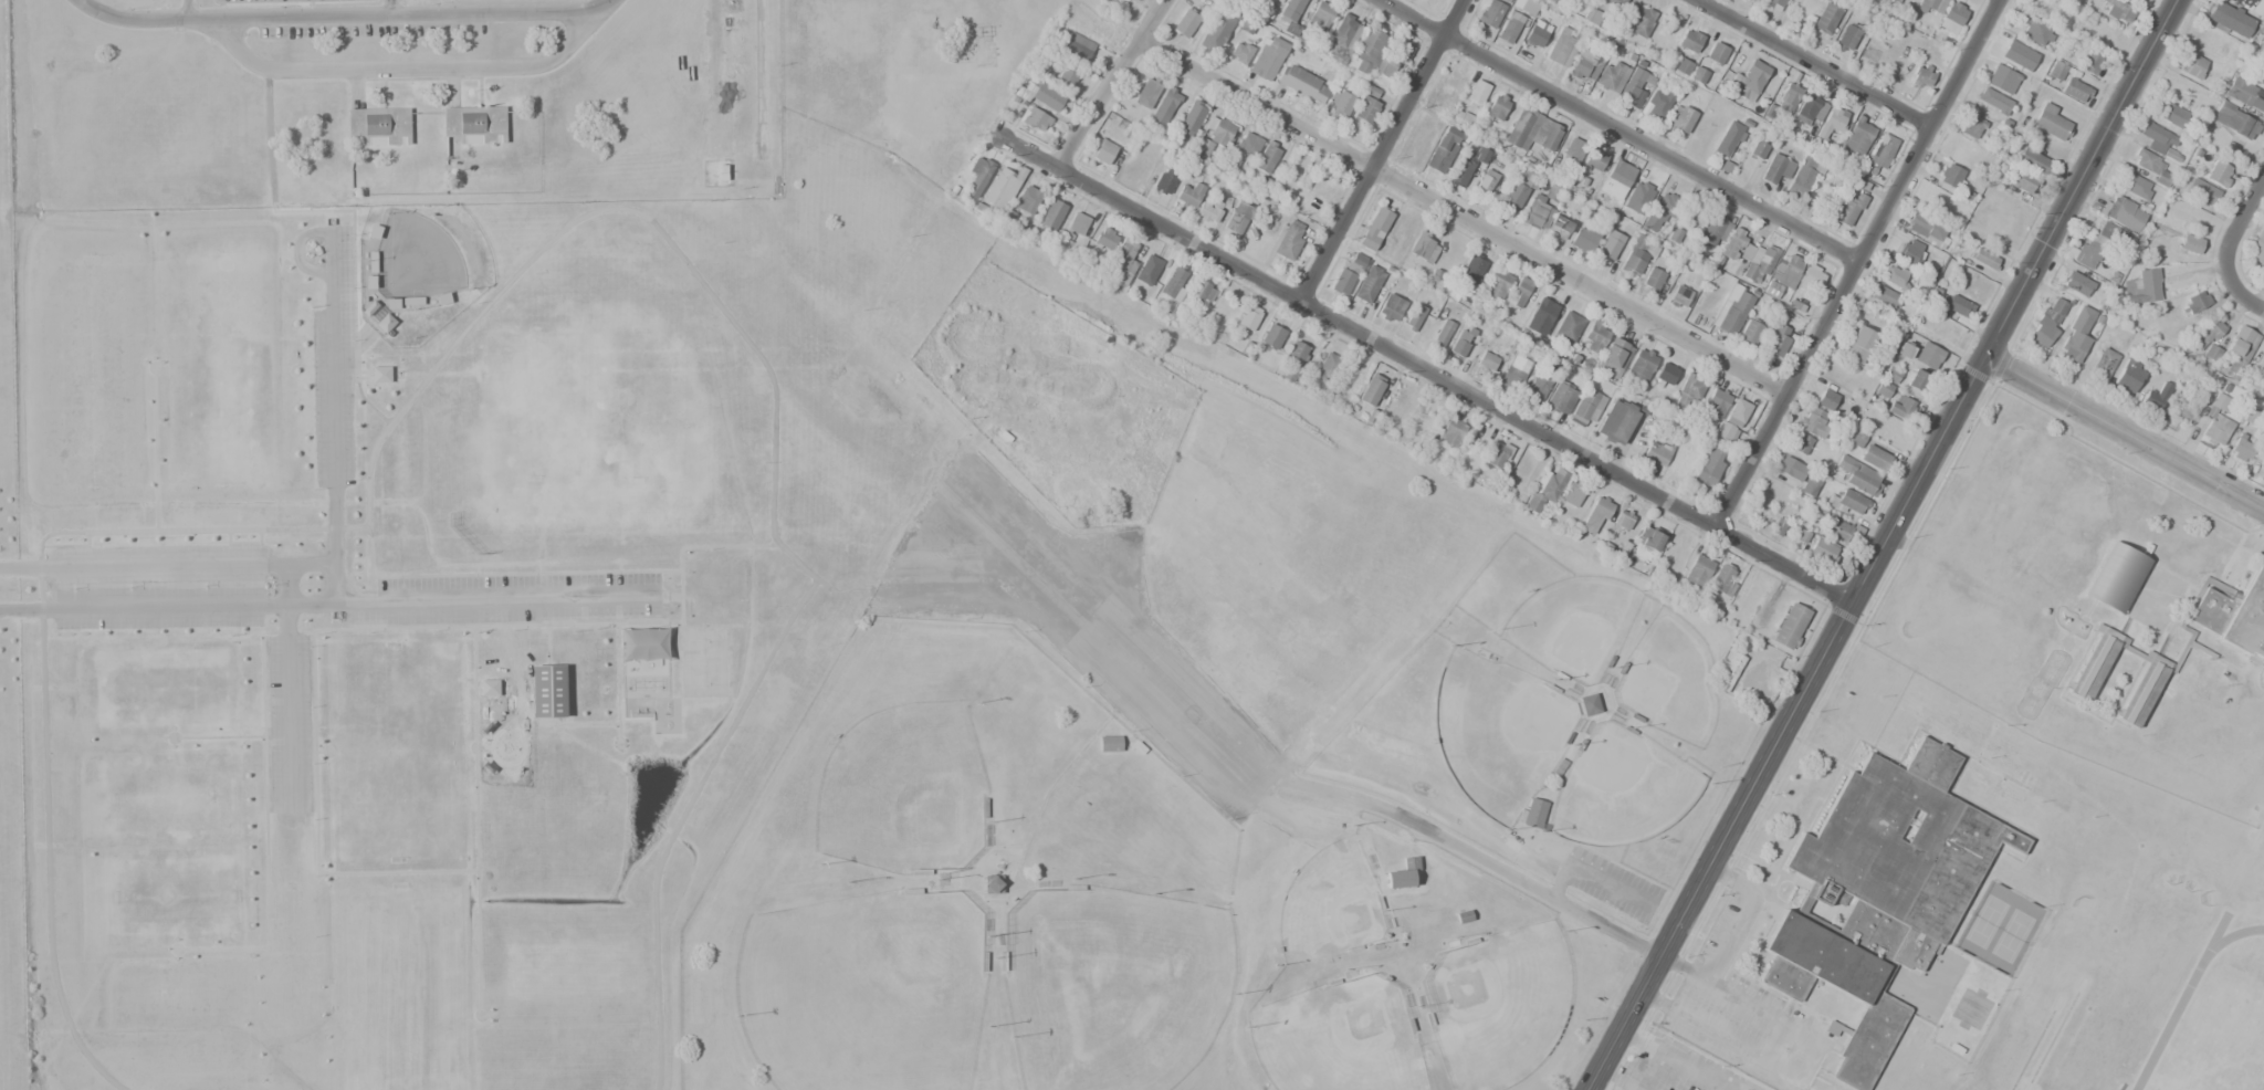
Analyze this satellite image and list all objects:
building: (1272, 0)
building: (1505, 1)
building: (1754, 1)
building: (1614, 3)
building: (1772, 3)
building: (1928, 3)
building: (1524, 6)
building: (2250, 6)
road: (395, 8)
road: (187, 10)
building: (2115, 10)
building: (1490, 13)
building: (1320, 15)
road: (344, 17)
building: (1290, 17)
building: (1826, 18)
building: (1951, 18)
building: (1639, 20)
building: (2228, 21)
building: (1185, 22)
building: (1509, 27)
building: (2036, 29)
building: (1345, 32)
building: (1217, 33)
building: (1534, 36)
building: (1846, 36)
building: (1688, 40)
building: (1563, 46)
building: (1076, 48)
building: (2263, 49)
building: (1370, 50)
building: (1240, 52)
building: (1716, 52)
building: (1870, 52)
building: (1268, 57)
building: (2088, 61)
building: (1387, 63)
building: (1582, 64)
road: (1809, 65)
building: (2191, 65)
building: (1681, 66)
road: (408, 67)
building: (2056, 70)
park: (908, 71)
building: (1607, 74)
building: (1697, 75)
building: (1921, 75)
building: (2260, 75)
building: (1067, 76)
building: (2001, 78)
building: (1748, 81)
road: (1111, 84)
building: (1302, 84)
building: (1631, 85)
building: (2074, 91)
building: (1371, 92)
building: (2237, 92)
building: (1146, 94)
building: (1475, 96)
building: (1040, 97)
building: (1788, 97)
building: (1993, 101)
building: (1340, 102)
building: (1658, 104)
building: (1165, 105)
building: (1807, 106)
building: (1497, 107)
building: (1365, 108)
building: (2171, 115)
building: (1679, 118)
building: (1034, 119)
building: (1461, 119)
building: (2234, 120)
building: (1831, 122)
building: (2052, 122)
building: (1189, 123)
building: (474, 124)
building: (378, 126)
building: (1970, 126)
building: (1532, 132)
road: (1620, 133)
building: (1214, 135)
building: (1857, 135)
building: (1727, 138)
building: (2160, 142)
building: (1248, 144)
road: (1381, 147)
building: (1443, 149)
building: (1573, 149)
building: (1757, 150)
building: (1103, 151)
building: (1879, 153)
building: (1268, 157)
building: (1595, 159)
building: (2031, 161)
building: (2148, 166)
building: (1467, 168)
building: (1776, 168)
building: (979, 171)
building: (1804, 174)
building: (2218, 174)
building: (1948, 178)
building: (1616, 179)
building: (1164, 181)
building: (2020, 181)
building: (1484, 184)
building: (2136, 186)
building: (1002, 188)
building: (1519, 191)
building: (2199, 192)
building: (1188, 196)
building: (1028, 200)
building: (1660, 208)
road: (352, 210)
building: (1848, 210)
building: (1209, 211)
building: (2121, 212)
building: (1537, 213)
building: (1052, 214)
road: (1463, 218)
building: (1690, 218)
road: (2236, 220)
building: (1238, 221)
building: (1077, 223)
building: (1374, 228)
building: (1559, 228)
building: (1926, 229)
building: (1716, 230)
building: (375, 232)
building: (2105, 233)
building: (1105, 238)
building: (1584, 238)
building: (1290, 240)
building: (1733, 243)
building: (2190, 243)
building: (1608, 245)
building: (1424, 247)
building: (2256, 247)
building: (1910, 252)
building: (2086, 254)
building: (1638, 255)
park: (415, 259)
building: (1983, 259)
building: (371, 262)
building: (1123, 262)
building: (1759, 263)
road: (1859, 263)
building: (1471, 269)
building: (1147, 270)
building: (1348, 272)
building: (1783, 274)
building: (1893, 275)
building: (1811, 279)
road: (514, 280)
building: (1653, 280)
building: (369, 282)
building: (1369, 283)
building: (2077, 283)
building: (1174, 284)
building: (1495, 286)
building: (2141, 286)
building: (1521, 289)
road: (2245, 292)
building: (1199, 294)
building: (1679, 295)
building: (1885, 296)
building: (442, 298)
building: (412, 301)
building: (2195, 301)
building: (392, 304)
building: (1953, 304)
building: (1391, 308)
building: (1732, 310)
building: (1540, 316)
building: (1248, 317)
building: (1414, 317)
building: (378, 318)
building: (2050, 318)
building: (1568, 327)
building: (1936, 329)
building: (1443, 332)
building: (1750, 332)
building: (2205, 334)
building: (1272, 336)
building: (2075, 336)
building: (1594, 337)
building: (1778, 340)
building: (1460, 343)
building: (1858, 344)
building: (2239, 348)
building: (2209, 353)
building: (1927, 355)
building: (1614, 358)
building: (1487, 359)
building: (1292, 360)
building: (2103, 364)
building: (1641, 365)
road: (1430, 366)
building: (1325, 367)
building: (1513, 371)
road: (333, 373)
park: (216, 374)
building: (1666, 374)
building: (380, 375)
building: (1890, 375)
park: (92, 376)
building: (2128, 376)
building: (1916, 381)
building: (1537, 387)
building: (1371, 389)
building: (1883, 389)
building: (1688, 390)
building: (2263, 392)
building: (2153, 396)
park: (1057, 398)
building: (1561, 399)
building: (1825, 399)
building: (1715, 403)
building: (1900, 407)
building: (1586, 408)
building: (2179, 413)
building: (1732, 420)
building: (2216, 420)
building: (1615, 421)
building: (1814, 422)
building: (1451, 432)
road: (2126, 433)
building: (1856, 439)
building: (1800, 443)
road: (155, 449)
building: (2241, 449)
building: (1656, 453)
building: (1498, 454)
building: (1875, 459)
building: (2262, 462)
building: (1709, 465)
building: (1790, 468)
building: (1522, 472)
building: (1861, 478)
building: (1810, 483)
building: (1545, 491)
building: (1572, 493)
building: (1845, 502)
building: (1596, 515)
building: (1624, 518)
road: (263, 528)
building: (1835, 528)
building: (1648, 539)
road: (1885, 546)
road: (87, 549)
building: (1822, 551)
road: (196, 564)
building: (1697, 570)
building: (2116, 577)
building: (1721, 583)
park: (567, 586)
road: (56, 588)
road: (669, 598)
road: (356, 604)
road: (583, 612)
road: (1110, 616)
building: (2235, 617)
building: (1790, 626)
road: (313, 637)
park: (703, 662)
park: (643, 664)
building: (2095, 665)
building: (1728, 672)
building: (2197, 677)
park: (161, 683)
road: (290, 687)
building: (489, 688)
building: (547, 691)
building: (2145, 692)
road: (276, 701)
building: (1589, 706)
building: (1920, 709)
building: (1961, 733)
road: (217, 737)
road: (277, 742)
building: (1109, 744)
road: (475, 748)
park: (396, 754)
building: (2002, 755)
road: (46, 767)
building: (1979, 784)
park: (901, 790)
park: (164, 794)
building: (2011, 801)
building: (1531, 813)
road: (681, 819)
road: (264, 836)
road: (1479, 856)
building: (1403, 874)
building: (993, 883)
building: (1880, 892)
park: (168, 894)
park: (1328, 904)
building: (1950, 960)
park: (397, 987)
park: (1112, 987)
park: (861, 992)
park: (1497, 1005)
park: (1337, 1039)
park: (1675, 1068)

